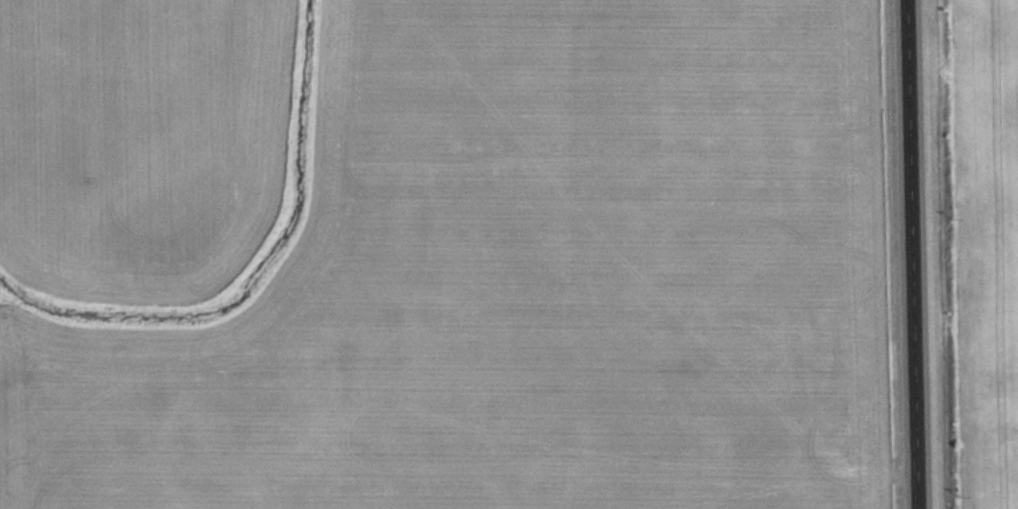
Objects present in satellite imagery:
road: (912, 254)

